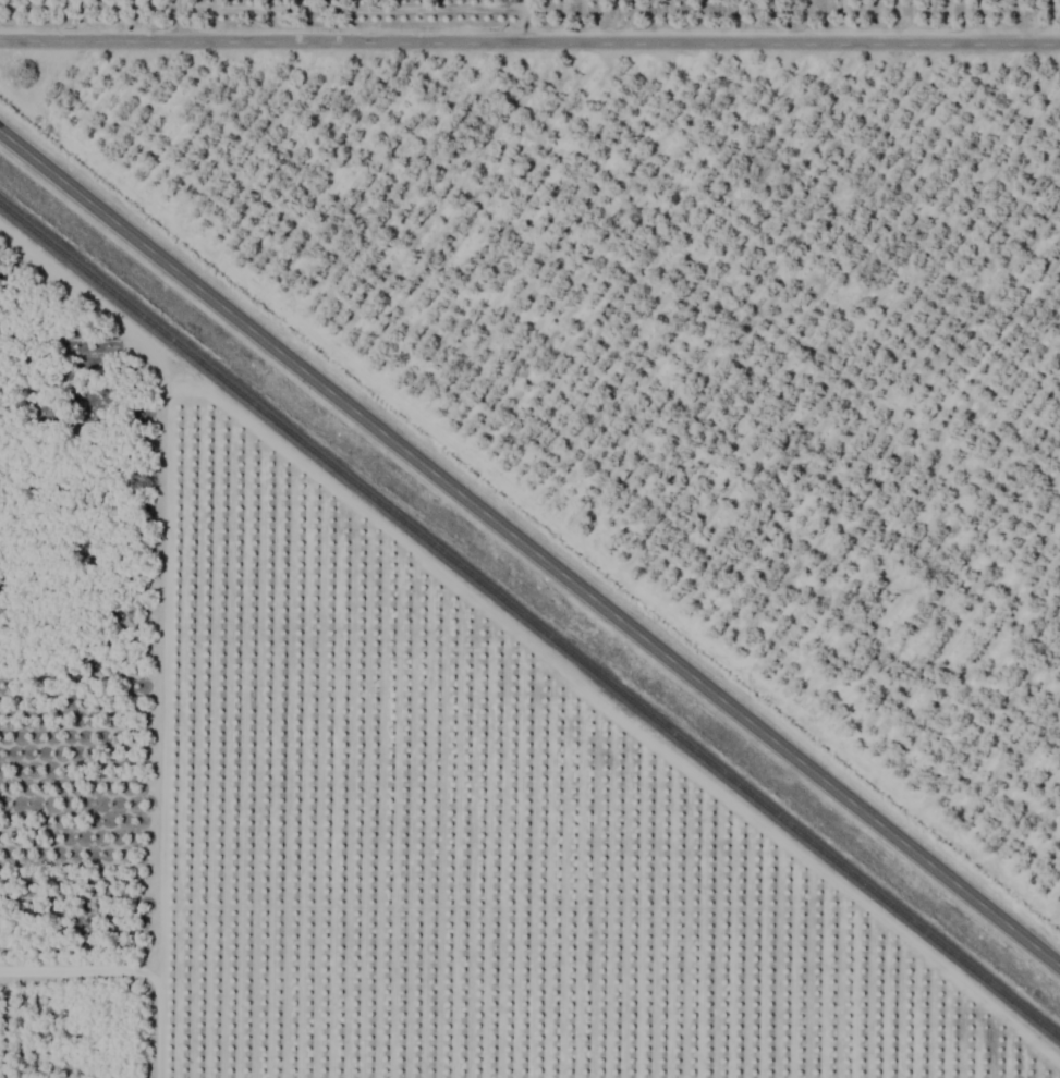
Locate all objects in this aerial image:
road: (514, 20)
road: (183, 21)
road: (529, 39)
crop: (529, 539)
road: (529, 550)
railway: (529, 623)

